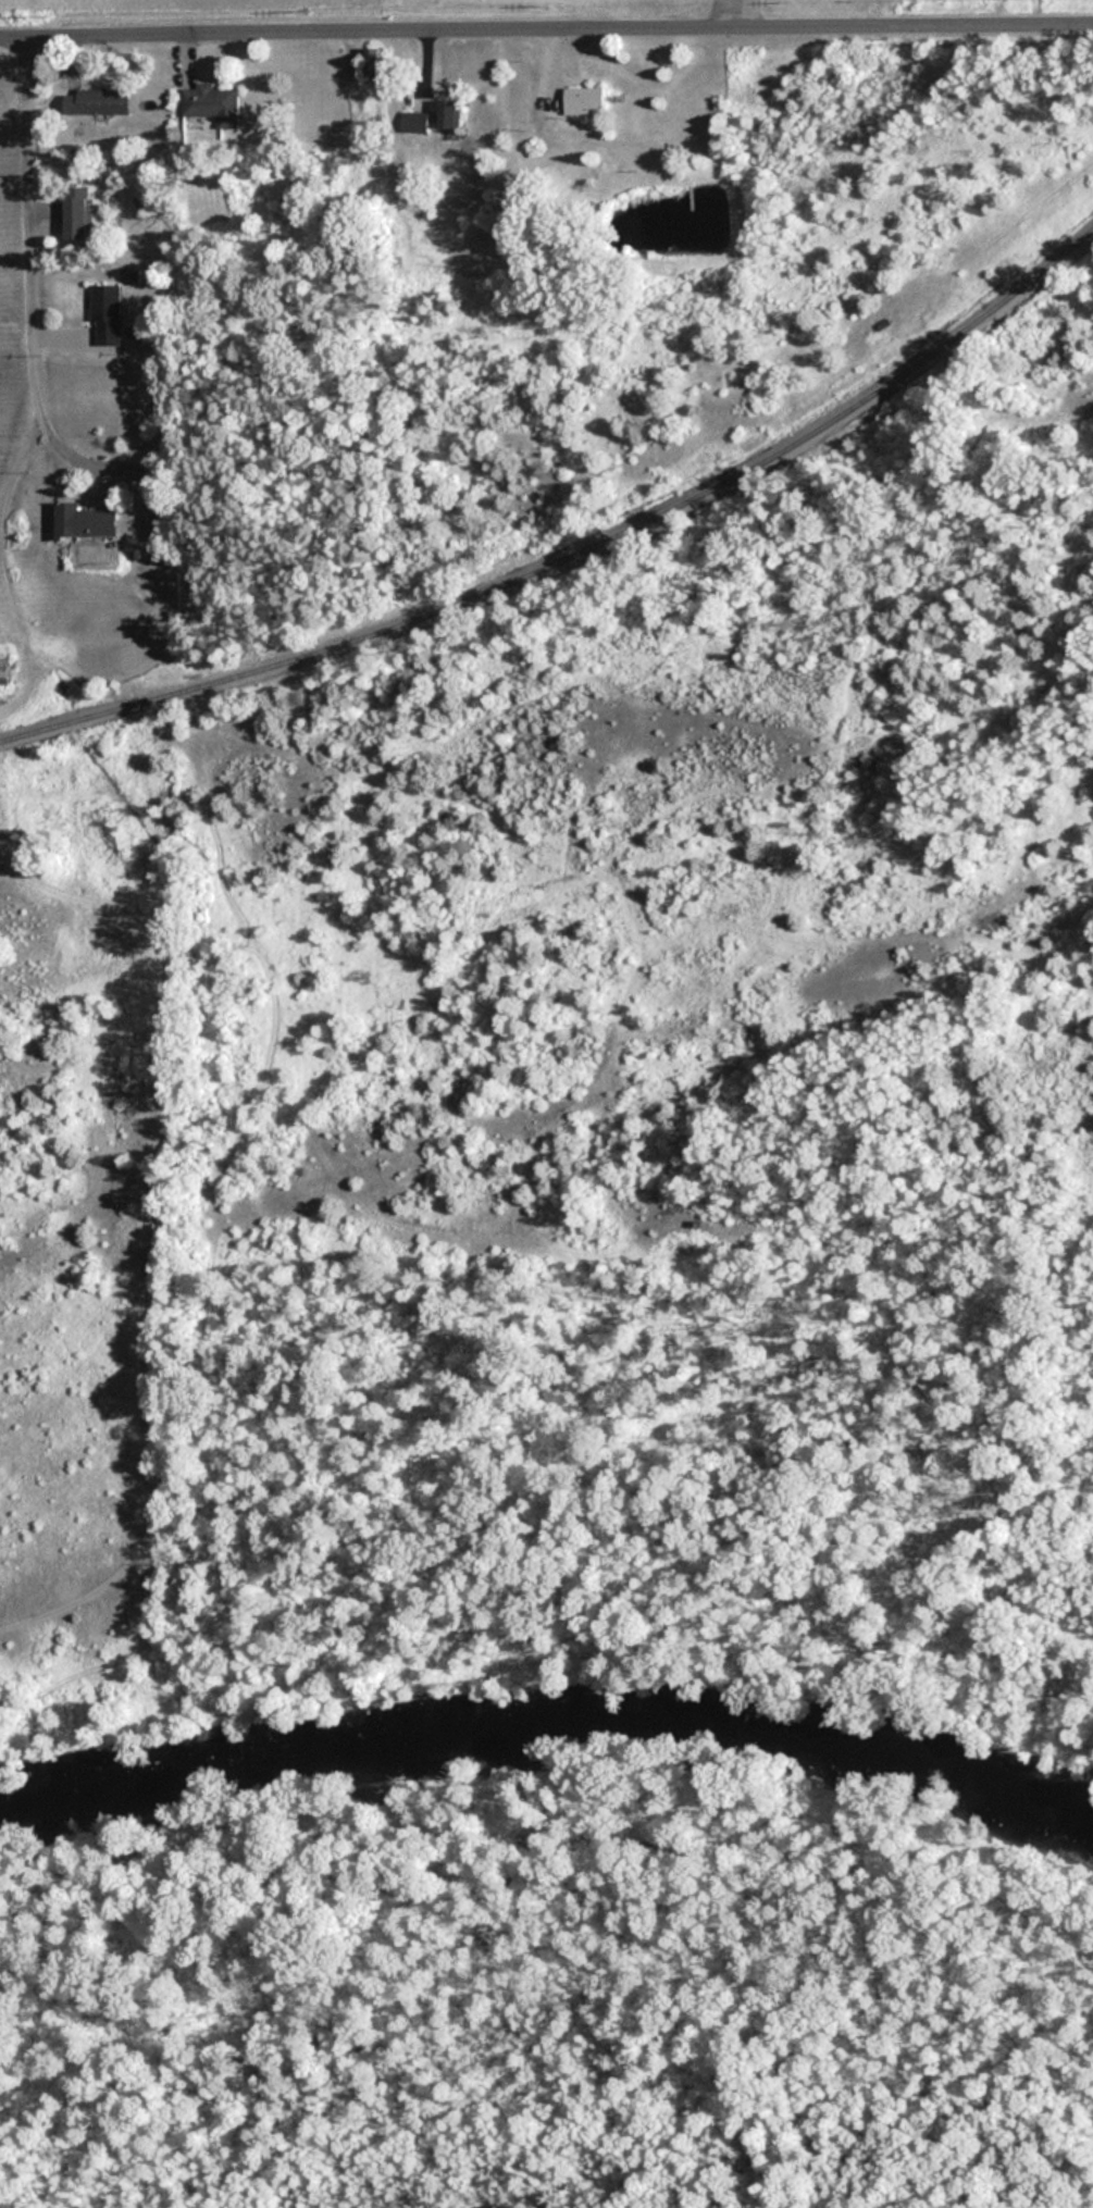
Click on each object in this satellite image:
road: (869, 13)
road: (546, 29)
building: (374, 61)
building: (583, 100)
building: (100, 101)
building: (214, 103)
building: (450, 113)
building: (415, 122)
building: (77, 212)
road: (29, 265)
building: (108, 313)
road: (16, 462)
building: (85, 521)
railway: (580, 553)
road: (21, 642)
building: (3, 670)
river: (547, 1724)
park: (549, 1983)

